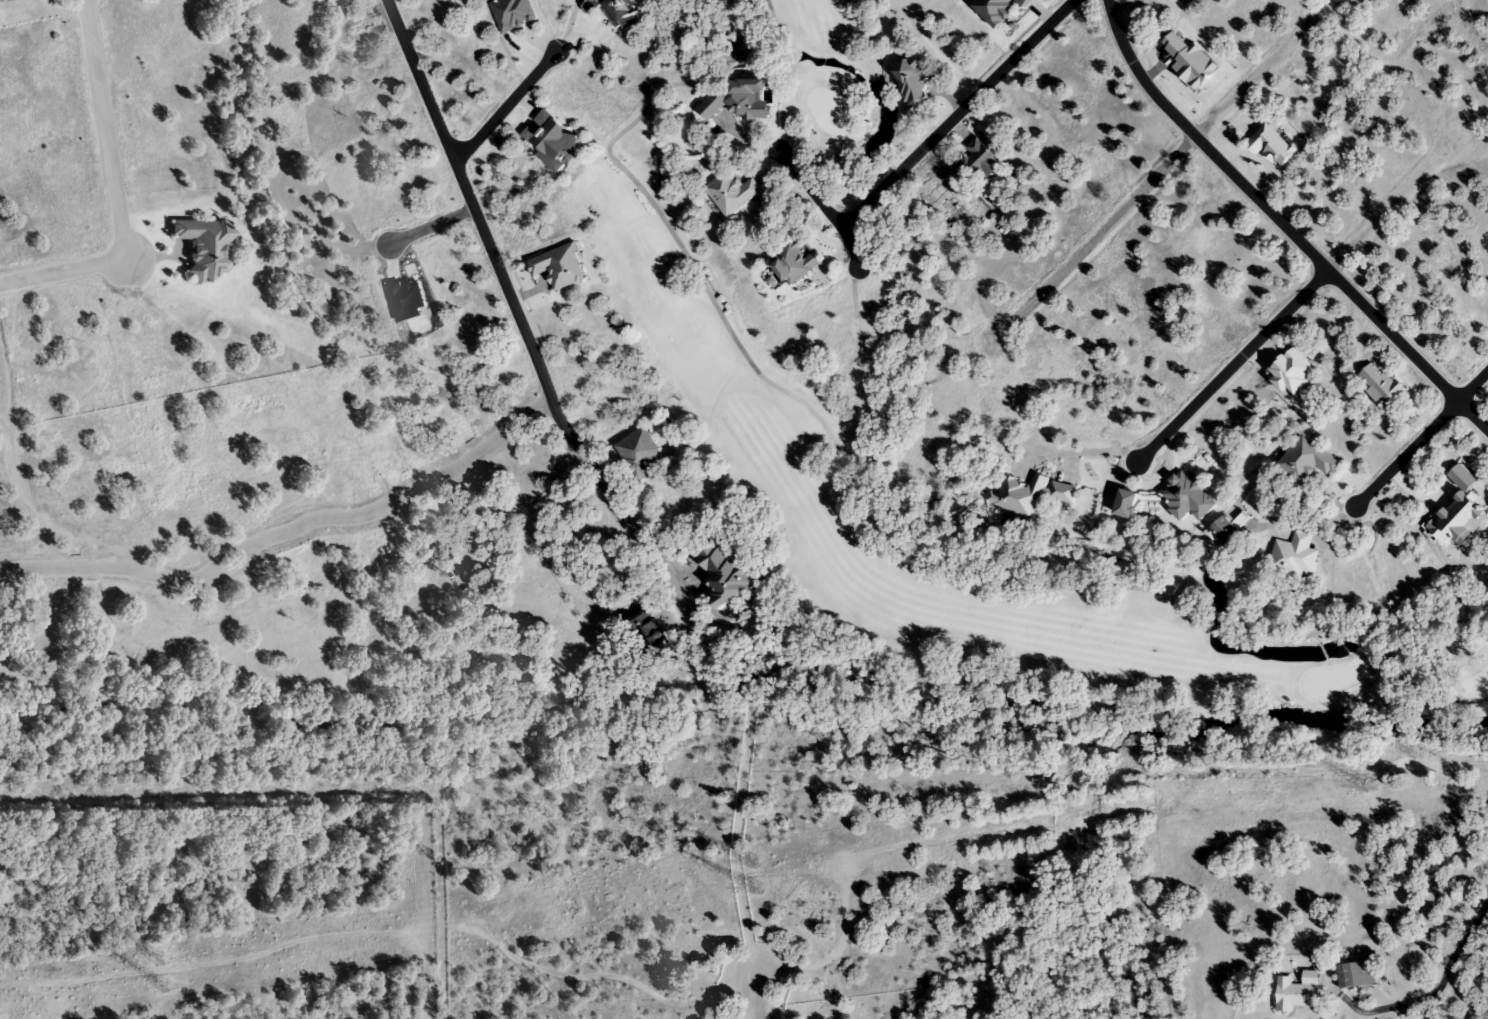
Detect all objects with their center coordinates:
building: (996, 10)
building: (614, 12)
road: (506, 106)
road: (955, 113)
road: (103, 125)
building: (547, 138)
building: (975, 163)
road: (1155, 176)
building: (730, 192)
road: (824, 207)
road: (1282, 225)
road: (430, 226)
building: (201, 246)
building: (793, 260)
road: (63, 268)
road: (1293, 304)
road: (523, 329)
building: (1377, 385)
park: (742, 417)
road: (1421, 438)
building: (637, 454)
building: (1307, 461)
building: (1029, 495)
building: (1186, 497)
building: (1126, 504)
road: (285, 529)
building: (1294, 555)
power tower: (1418, 750)
power tower: (1444, 778)
power tower: (1095, 842)
power tower: (753, 861)
power tower: (754, 888)
power tower: (158, 958)
road: (1451, 966)
building: (1344, 977)
power tower: (155, 992)
building: (1296, 992)
road: (756, 1000)

